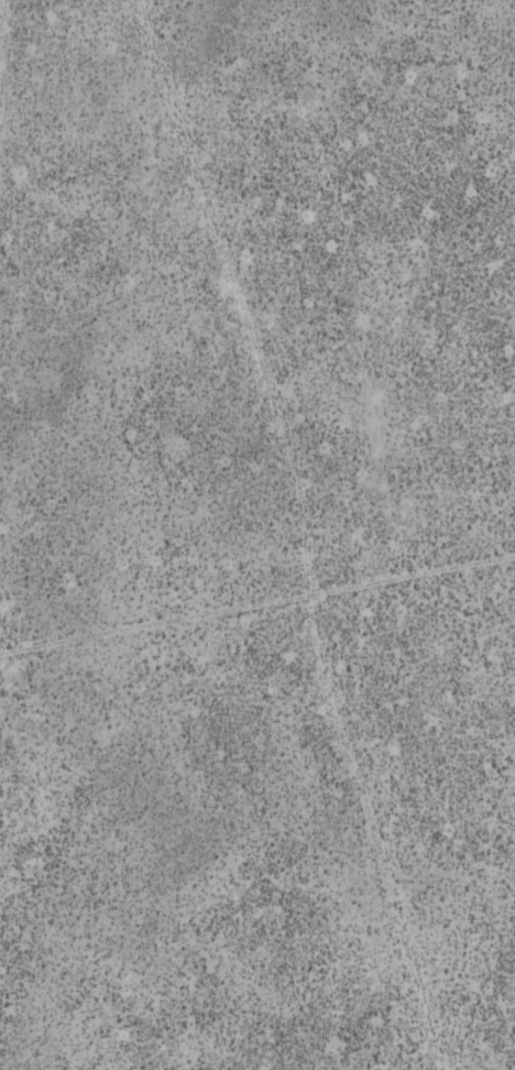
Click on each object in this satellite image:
road: (257, 611)

